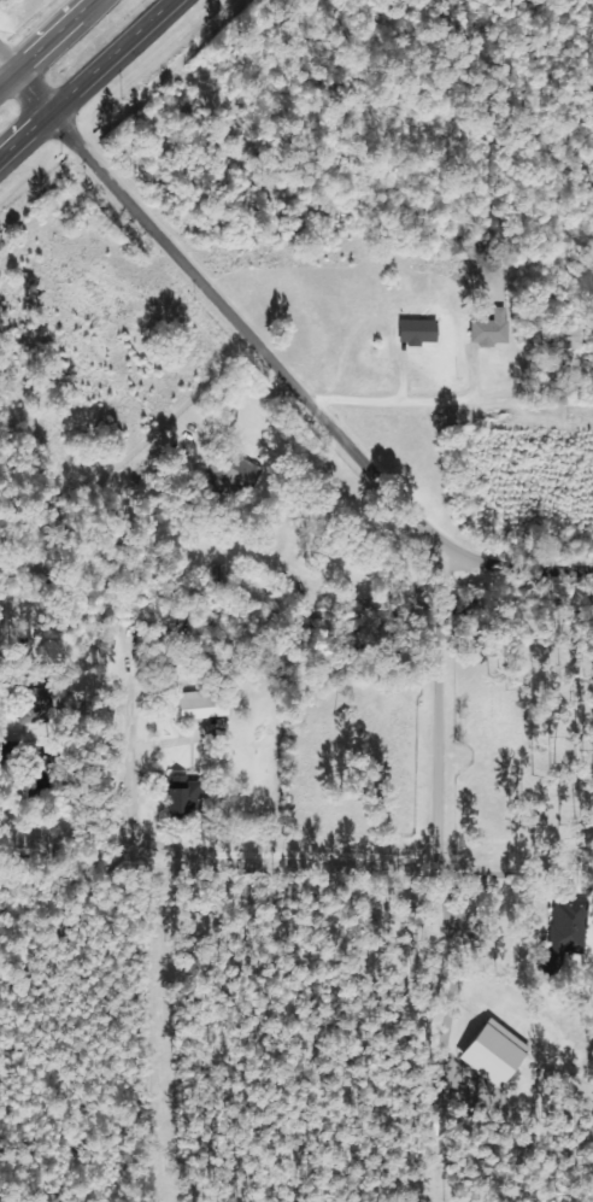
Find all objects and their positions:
road: (45, 41)
road: (78, 72)
road: (30, 86)
road: (380, 251)
building: (492, 330)
building: (419, 334)
building: (569, 338)
road: (292, 375)
building: (230, 476)
building: (205, 705)
building: (36, 706)
building: (186, 798)
road: (418, 943)

